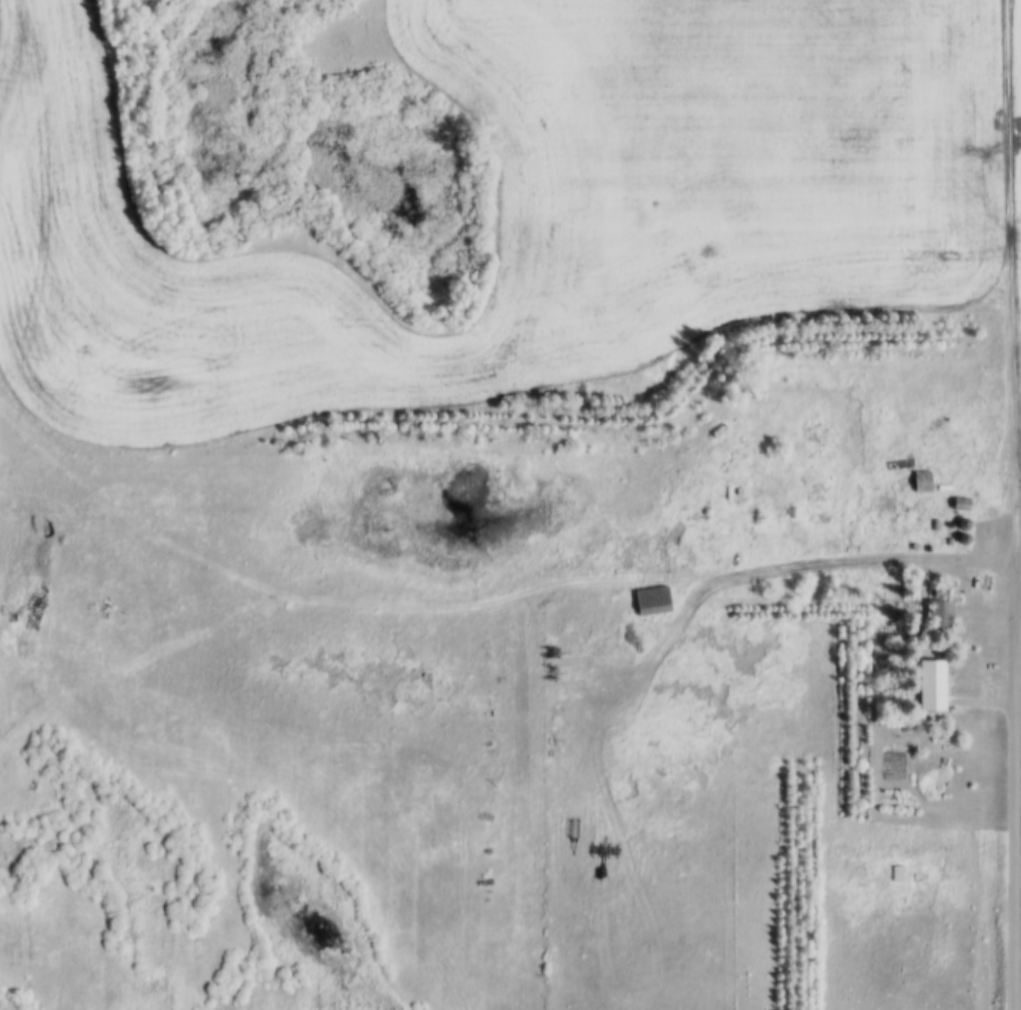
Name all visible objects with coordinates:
building: (919, 479)
building: (960, 502)
road: (1013, 504)
building: (932, 523)
building: (962, 523)
silo: (962, 523)
building: (962, 537)
silo: (962, 537)
building: (651, 600)
building: (938, 614)
building: (930, 685)
building: (895, 873)

